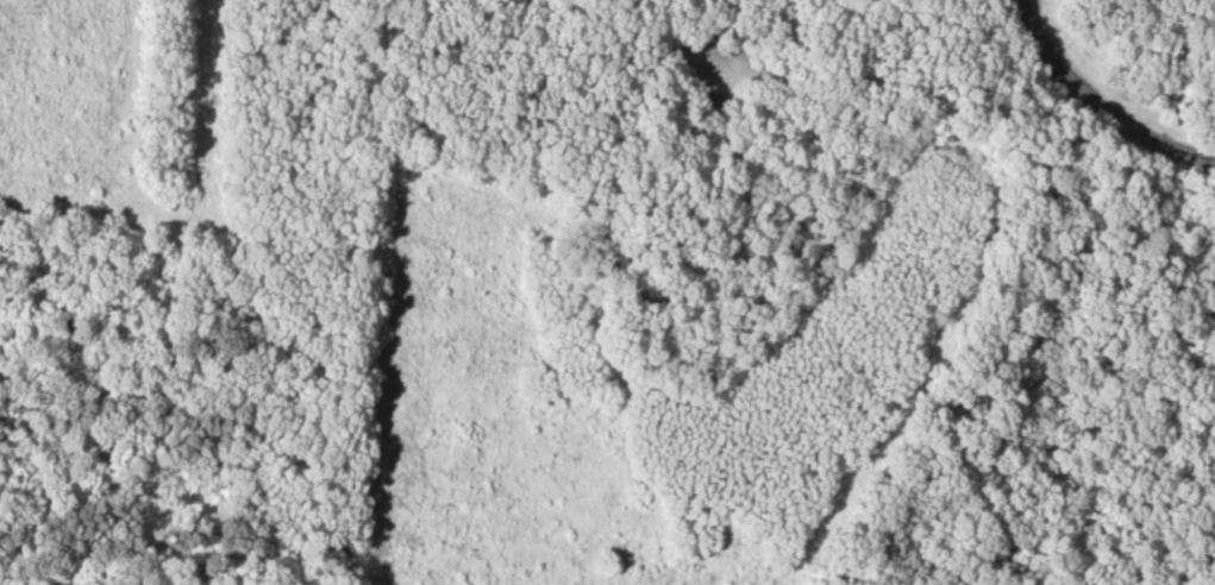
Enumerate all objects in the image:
road: (1176, 27)
road: (1101, 102)
road: (317, 221)
park: (607, 292)

